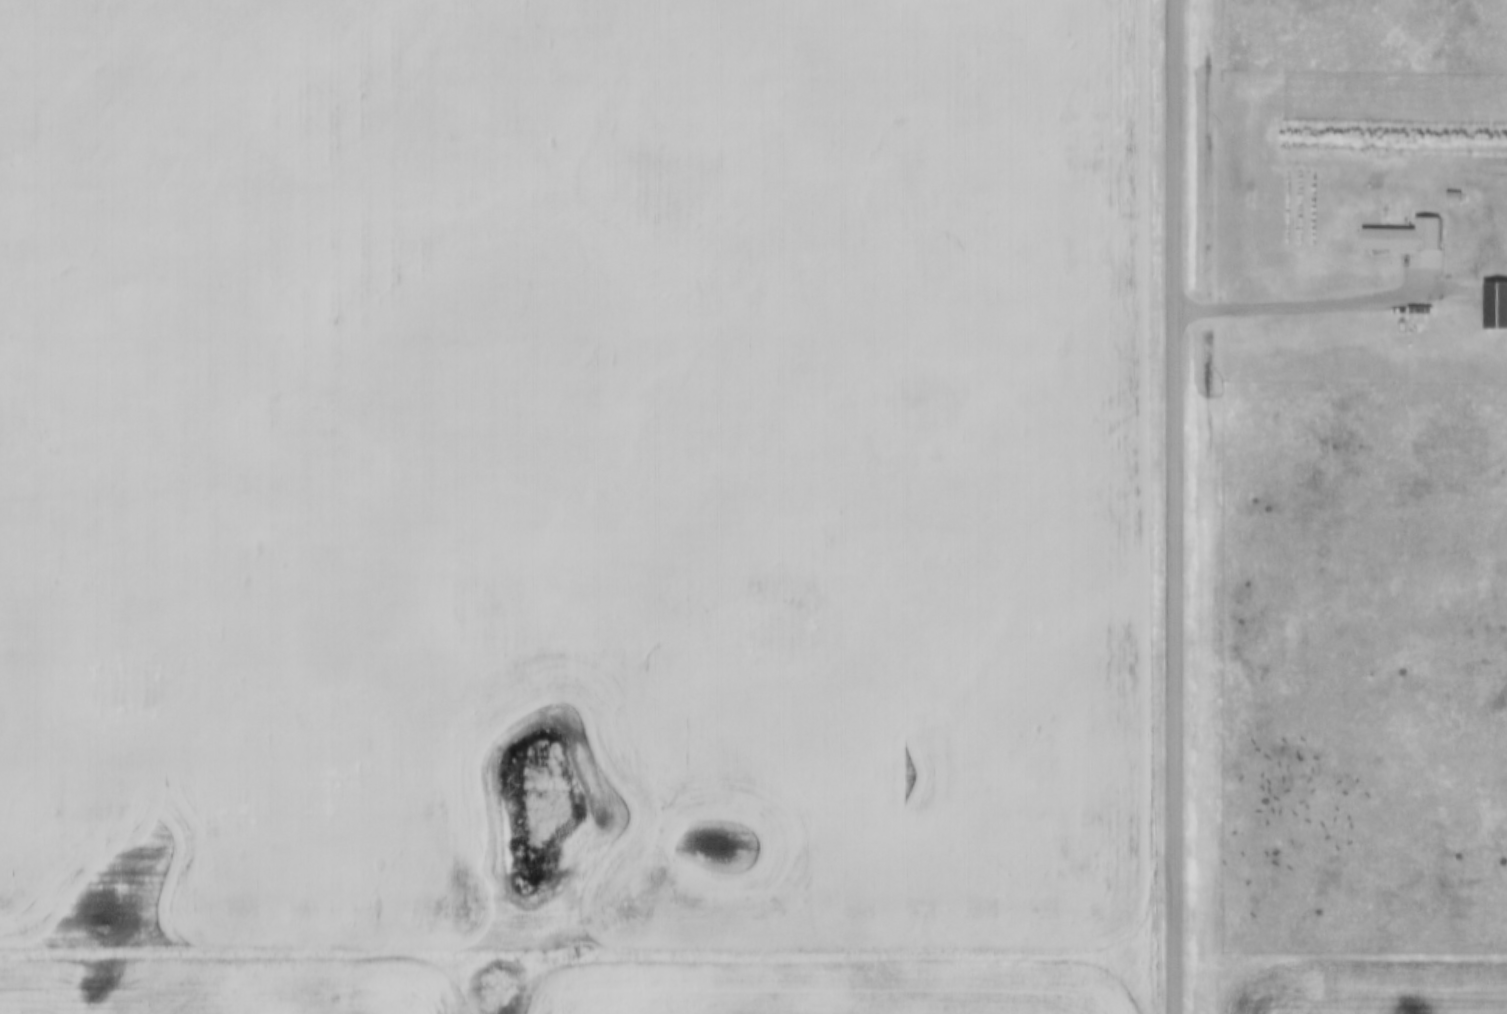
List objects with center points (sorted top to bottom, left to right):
building: (1390, 237)
building: (1496, 303)
road: (1179, 507)

